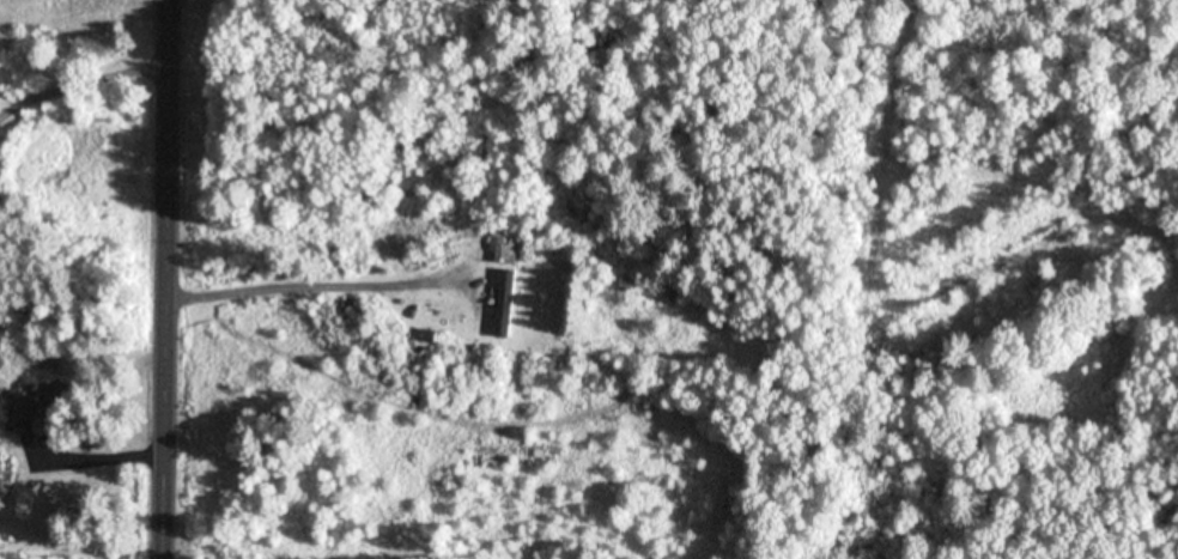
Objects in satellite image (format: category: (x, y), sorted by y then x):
building: (505, 247)
road: (180, 279)
building: (652, 290)
building: (511, 298)
building: (51, 364)
building: (54, 395)
building: (24, 402)
building: (1, 469)

